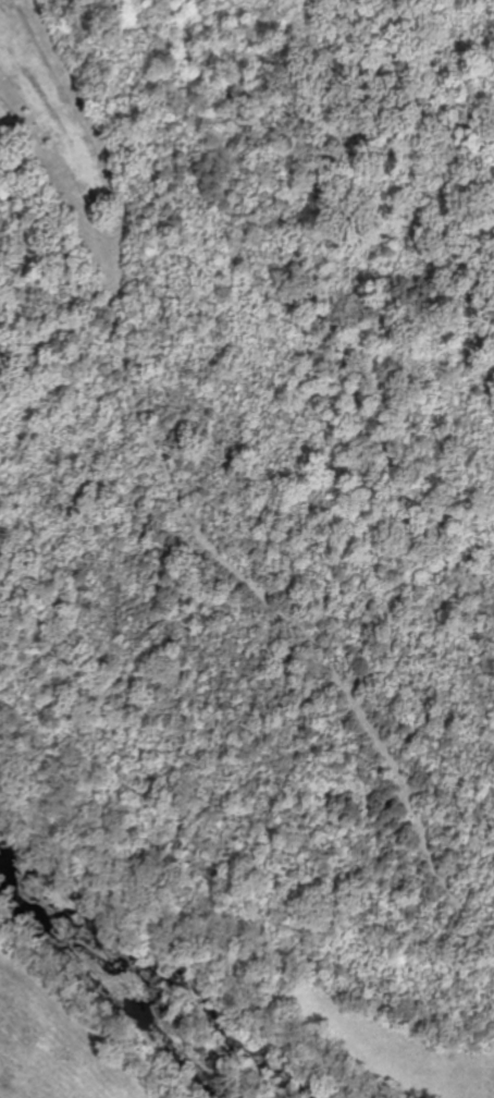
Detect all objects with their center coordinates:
road: (254, 552)

